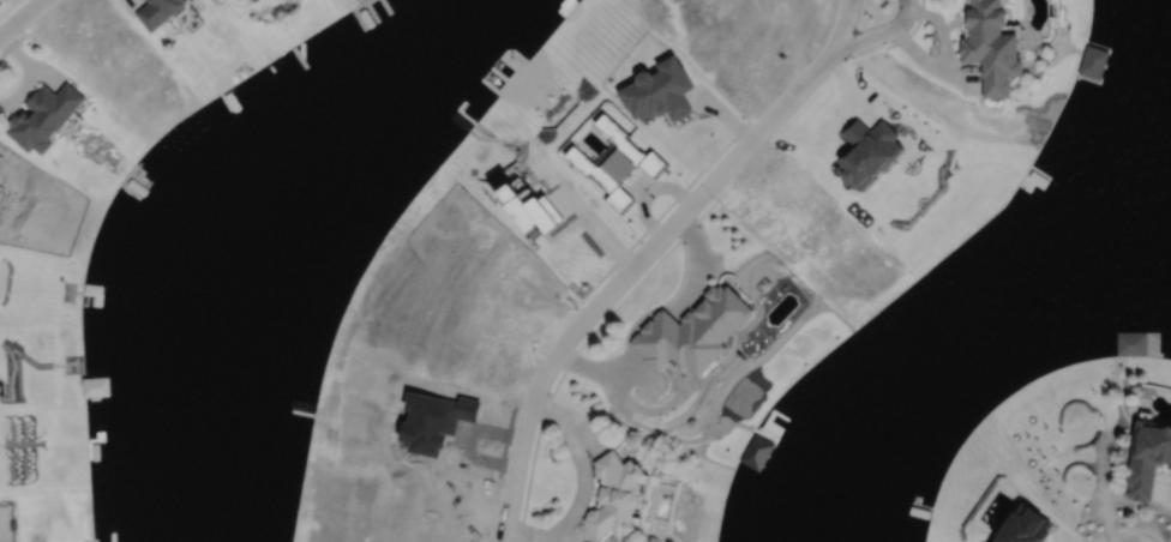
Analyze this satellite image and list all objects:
building: (156, 11)
road: (17, 14)
building: (986, 47)
building: (1091, 62)
building: (241, 97)
building: (38, 118)
building: (524, 212)
road: (648, 241)
building: (687, 333)
building: (1146, 458)
building: (611, 499)

